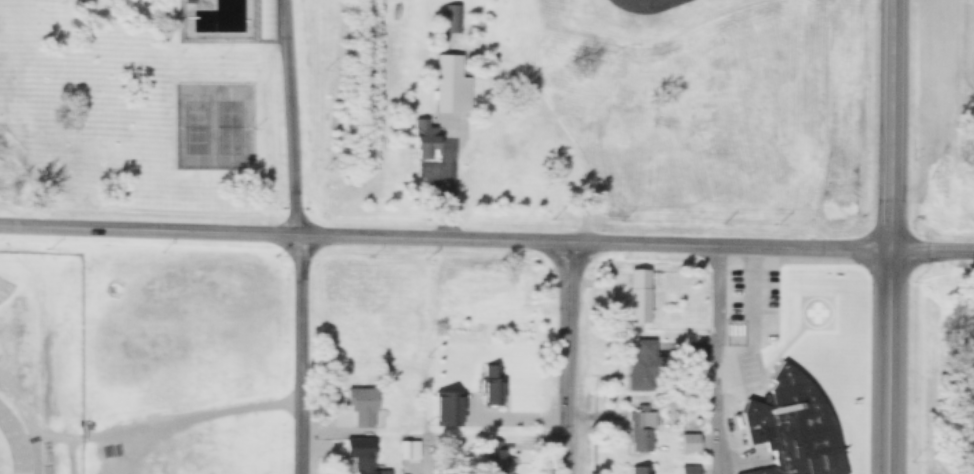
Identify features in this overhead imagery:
building: (453, 18)
building: (452, 94)
park: (194, 124)
park: (234, 124)
road: (887, 128)
building: (420, 143)
road: (309, 236)
road: (442, 244)
road: (930, 256)
building: (638, 296)
helipad: (825, 314)
road: (573, 361)
building: (642, 363)
road: (718, 363)
road: (886, 365)
building: (732, 380)
building: (491, 384)
building: (360, 405)
building: (642, 430)
building: (688, 441)
building: (791, 452)
building: (493, 457)
building: (365, 461)
building: (639, 468)
building: (688, 469)

